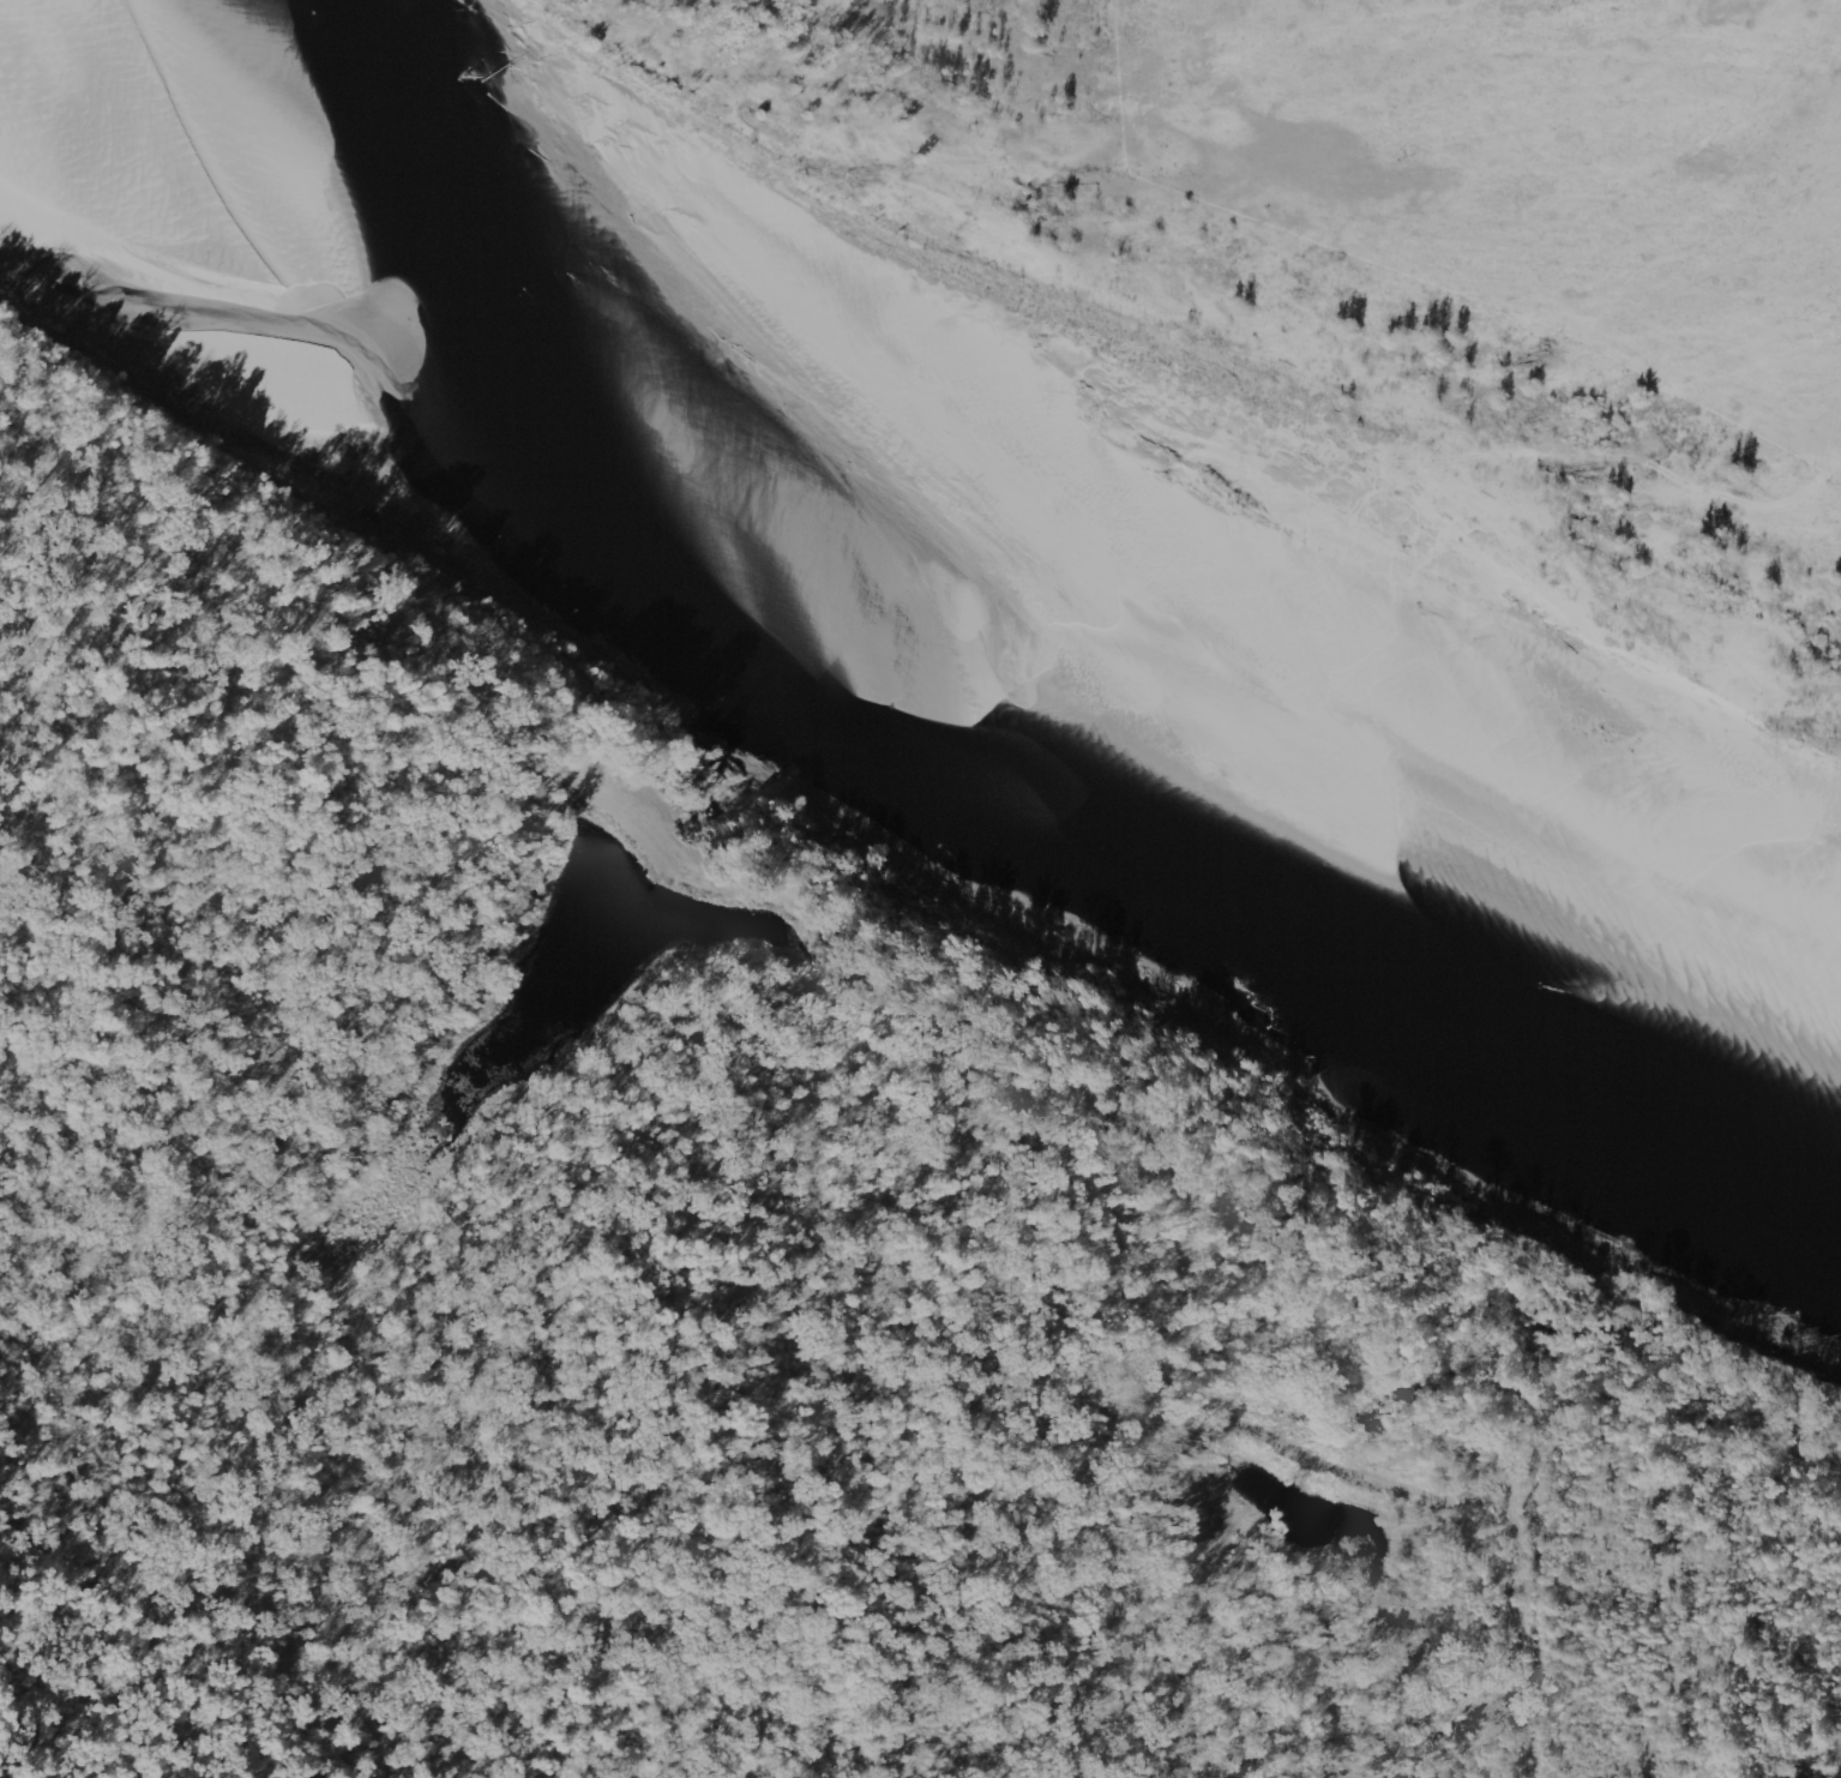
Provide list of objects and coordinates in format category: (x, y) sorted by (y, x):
river: (872, 686)

